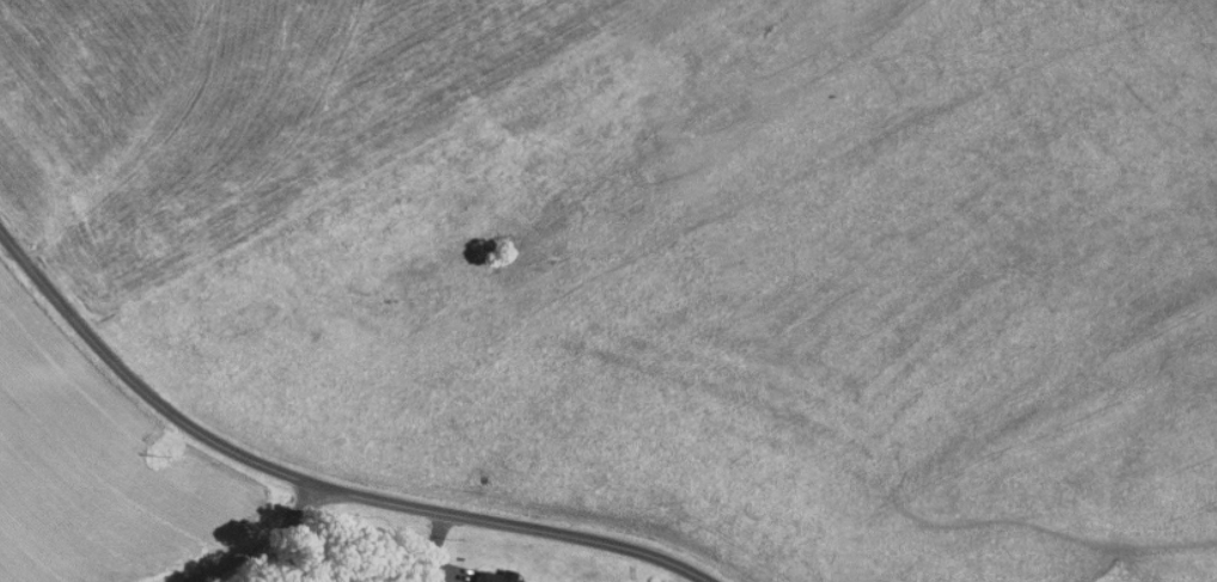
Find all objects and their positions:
road: (313, 483)
road: (259, 538)
building: (487, 572)
road: (190, 581)

